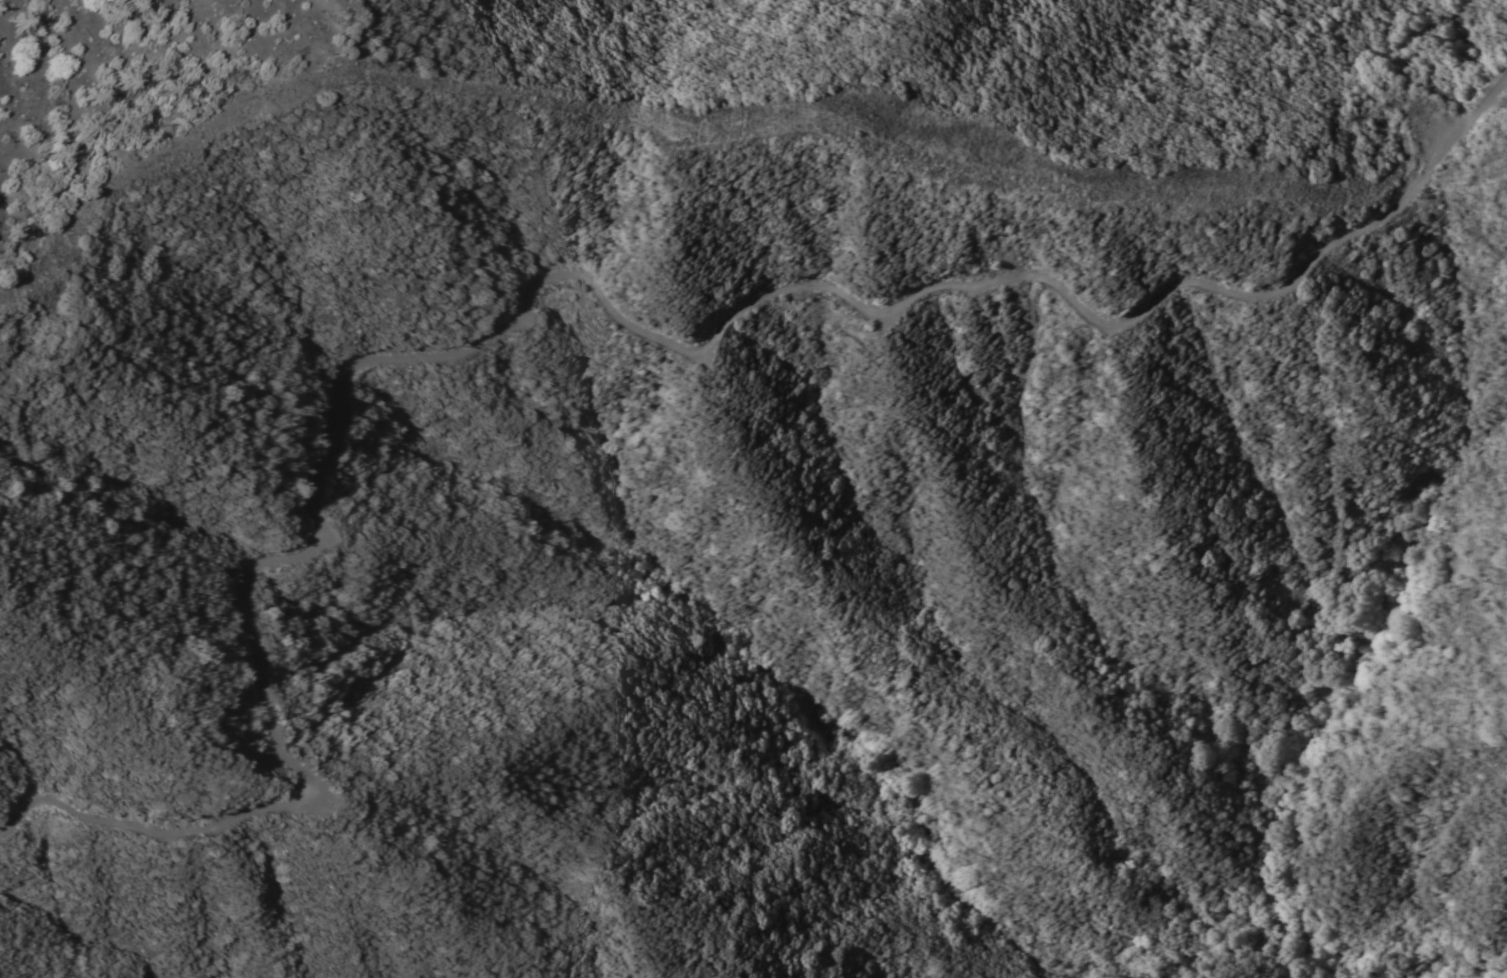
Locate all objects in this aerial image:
road: (1469, 119)
road: (683, 131)
road: (542, 283)

